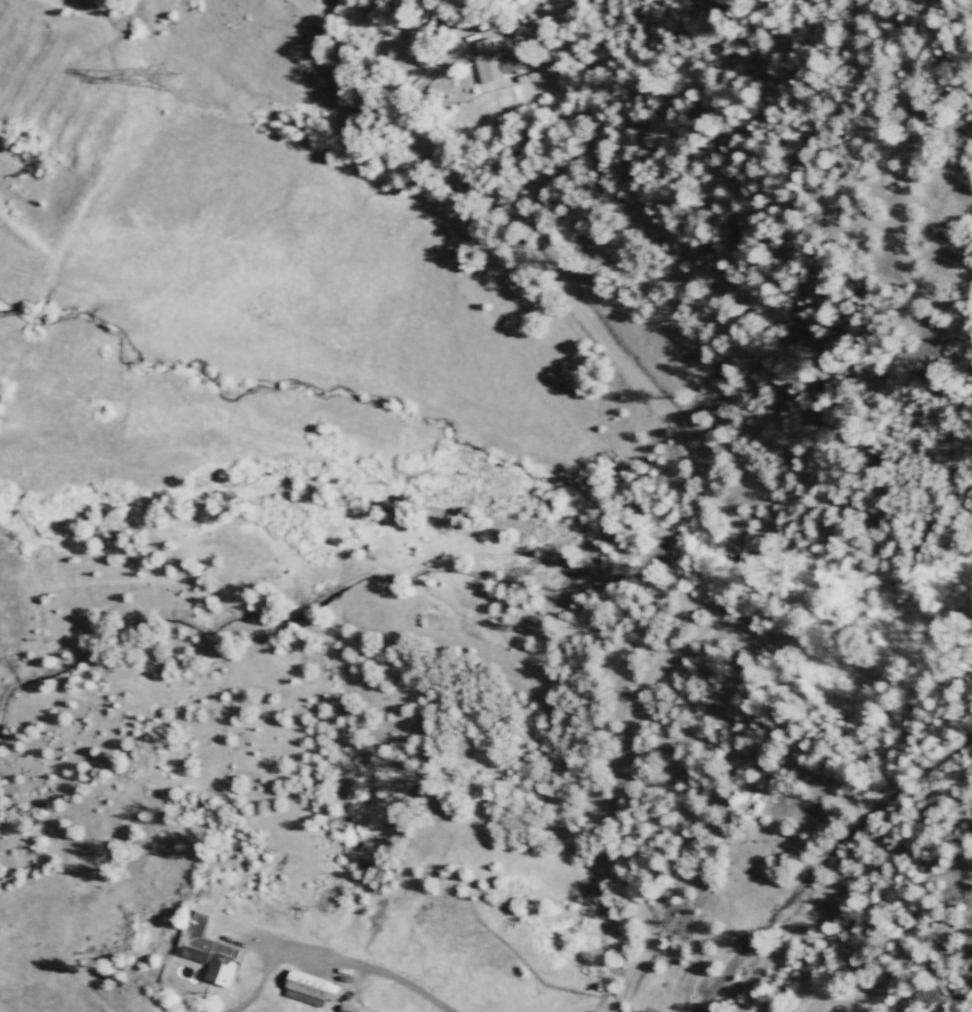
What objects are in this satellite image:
building: (498, 60)
power tower: (165, 94)
road: (696, 467)
power tower: (4, 551)
building: (207, 951)
road: (264, 970)
road: (386, 973)
building: (310, 989)

